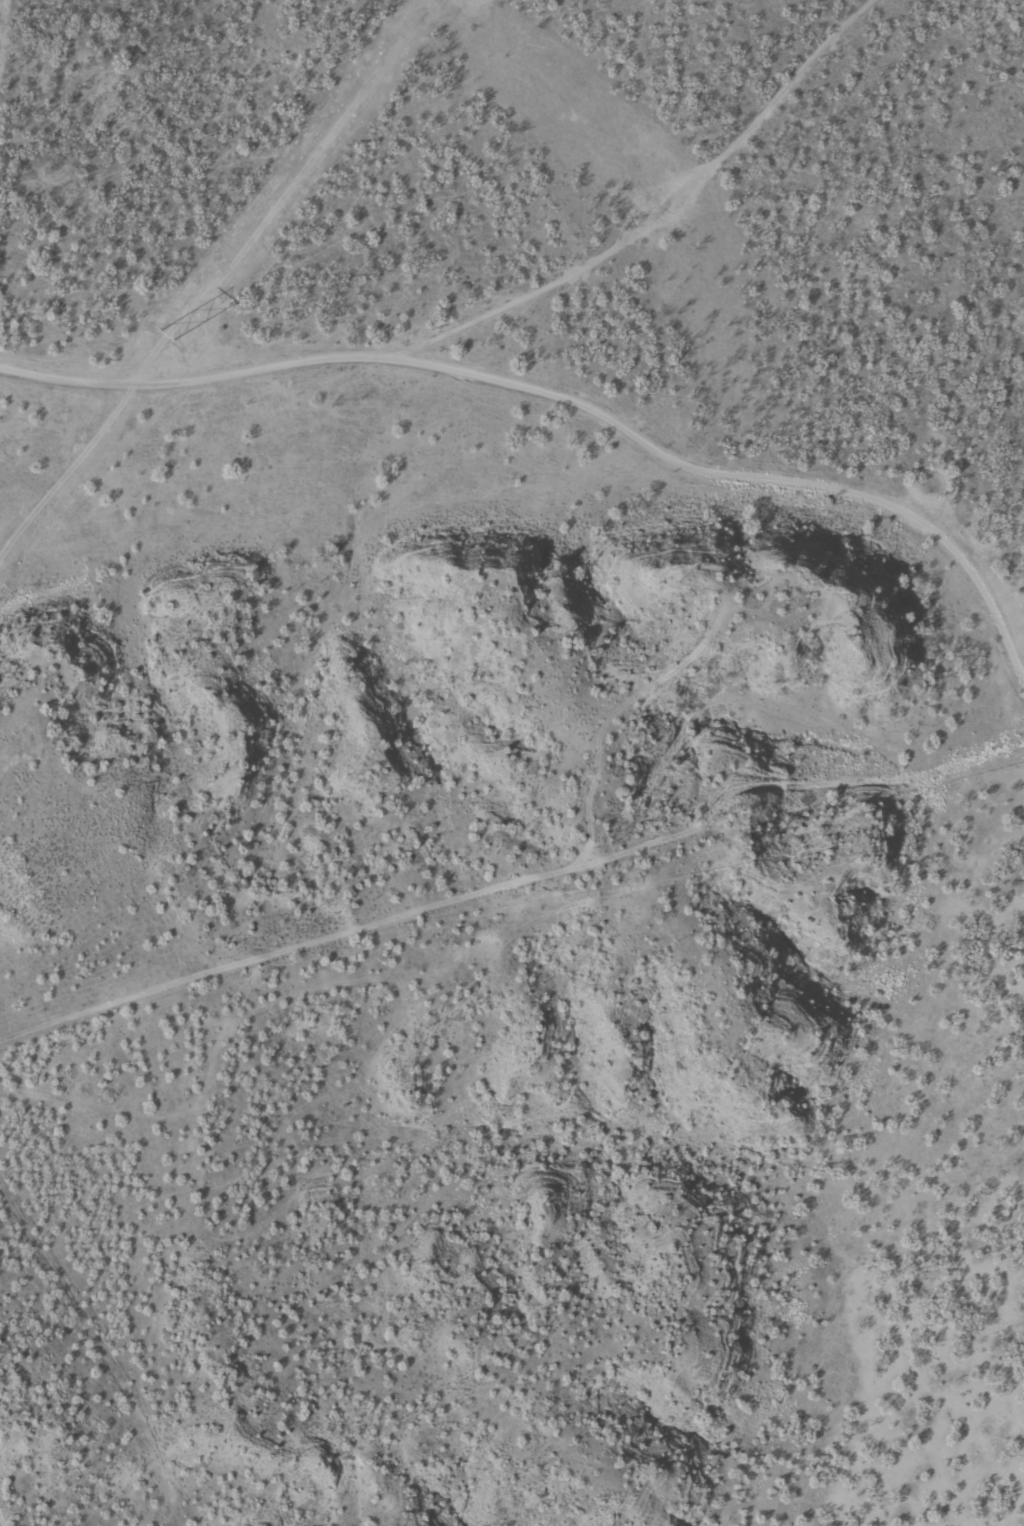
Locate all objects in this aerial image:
road: (581, 396)

